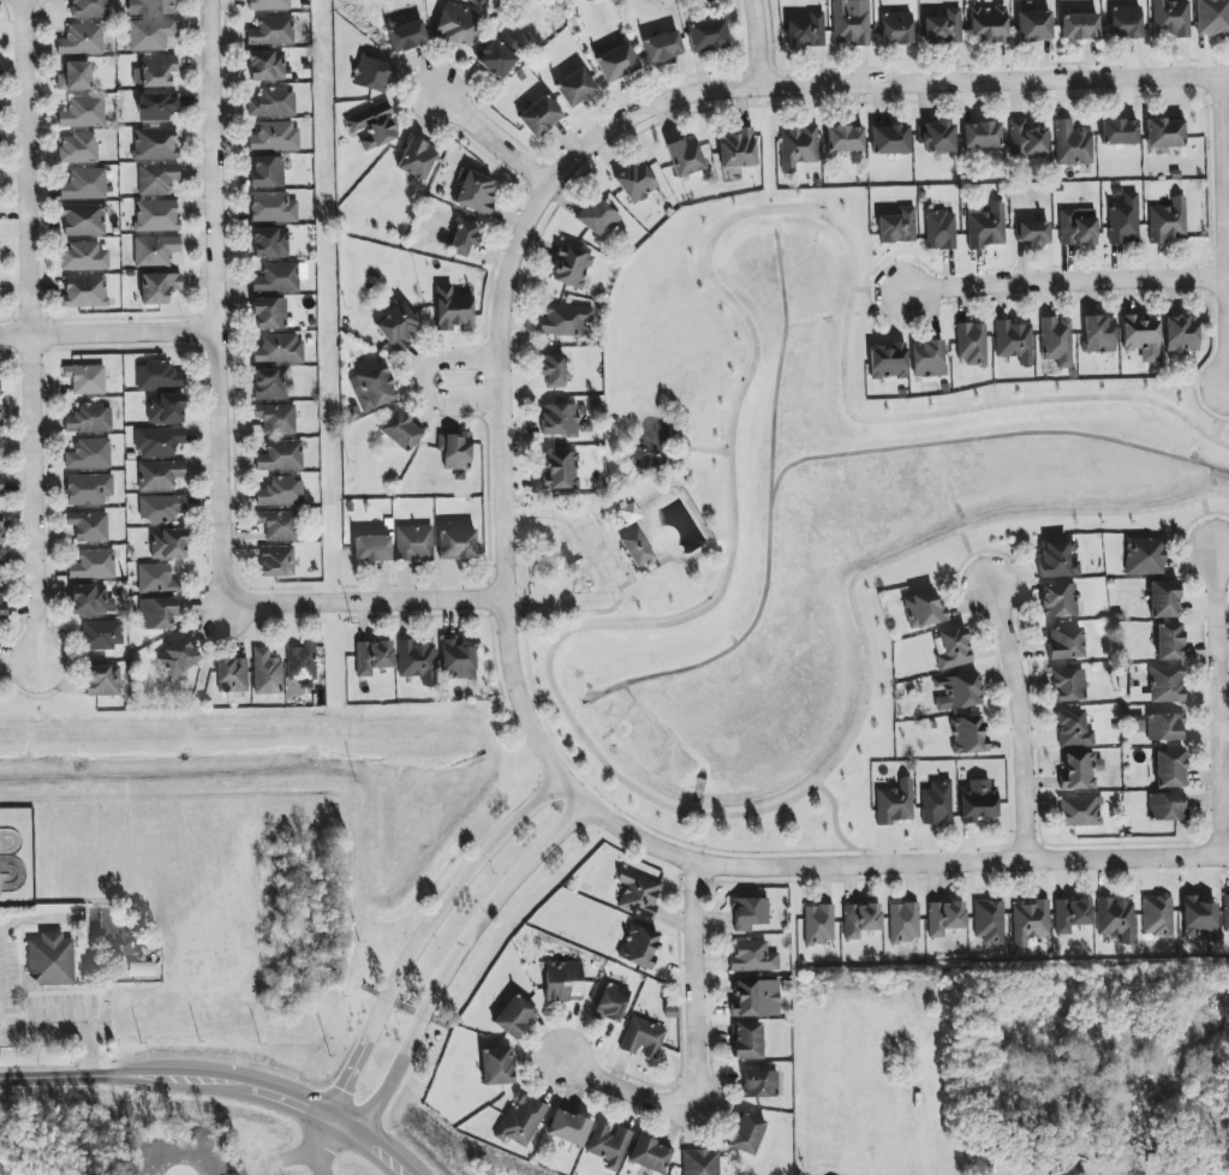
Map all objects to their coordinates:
building: (269, 5)
building: (156, 7)
building: (89, 8)
building: (1212, 17)
building: (1170, 18)
building: (851, 22)
building: (1124, 22)
building: (988, 23)
building: (457, 24)
building: (1033, 26)
building: (1079, 26)
building: (896, 28)
building: (943, 28)
building: (272, 31)
building: (806, 31)
building: (150, 34)
building: (706, 35)
building: (406, 36)
building: (82, 40)
road: (756, 42)
building: (662, 47)
building: (497, 55)
building: (616, 62)
building: (266, 66)
building: (157, 70)
building: (371, 74)
building: (74, 76)
road: (873, 83)
building: (575, 88)
building: (273, 103)
building: (156, 107)
building: (83, 112)
building: (539, 117)
building: (371, 127)
building: (1118, 132)
building: (1164, 133)
building: (982, 135)
building: (275, 137)
road: (489, 137)
building: (845, 138)
building: (938, 138)
building: (890, 139)
building: (1026, 139)
building: (155, 144)
building: (1072, 144)
building: (798, 147)
building: (78, 148)
building: (738, 149)
building: (685, 156)
building: (416, 159)
building: (267, 172)
building: (156, 179)
building: (636, 181)
building: (84, 184)
building: (475, 192)
building: (273, 208)
building: (156, 215)
building: (597, 219)
building: (83, 220)
building: (1123, 220)
building: (1168, 221)
road: (1223, 222)
building: (897, 226)
building: (985, 226)
building: (1076, 227)
building: (939, 229)
building: (1033, 233)
building: (464, 238)
building: (270, 243)
building: (155, 250)
building: (83, 257)
building: (572, 268)
building: (279, 278)
road: (1062, 284)
building: (159, 287)
road: (877, 290)
building: (84, 291)
road: (219, 299)
building: (452, 308)
building: (268, 314)
building: (565, 320)
building: (398, 327)
road: (109, 330)
road: (37, 333)
building: (1099, 334)
building: (1181, 334)
building: (1141, 338)
building: (1013, 341)
building: (1056, 341)
building: (971, 344)
building: (279, 348)
building: (927, 358)
building: (888, 360)
building: (553, 369)
building: (157, 376)
building: (85, 378)
road: (423, 380)
building: (270, 383)
building: (372, 388)
building: (0, 394)
building: (166, 408)
building: (89, 418)
building: (276, 418)
road: (1223, 418)
building: (559, 419)
building: (0, 421)
building: (400, 430)
road: (674, 439)
building: (159, 441)
road: (632, 443)
building: (1, 448)
building: (454, 451)
road: (706, 451)
building: (89, 454)
building: (280, 457)
park: (648, 464)
building: (561, 470)
building: (160, 476)
building: (0, 485)
building: (88, 489)
building: (281, 493)
road: (609, 503)
building: (161, 507)
building: (630, 513)
building: (279, 525)
road: (1209, 525)
building: (89, 526)
building: (1, 527)
building: (413, 543)
building: (168, 544)
building: (457, 544)
building: (371, 548)
building: (637, 548)
building: (1144, 556)
road: (972, 559)
building: (1, 560)
building: (1058, 560)
building: (276, 561)
building: (93, 565)
road: (601, 577)
building: (155, 578)
building: (90, 600)
building: (1164, 600)
building: (1058, 601)
building: (1, 603)
road: (365, 603)
building: (923, 609)
building: (157, 614)
road: (698, 614)
road: (548, 622)
building: (102, 634)
building: (1169, 642)
building: (1064, 643)
building: (951, 649)
building: (178, 657)
building: (372, 657)
building: (417, 661)
building: (457, 661)
building: (302, 662)
building: (266, 673)
building: (232, 675)
building: (102, 680)
building: (1167, 684)
building: (1068, 685)
building: (959, 692)
road: (1219, 704)
road: (1019, 721)
building: (1164, 727)
building: (1073, 729)
building: (968, 734)
building: (1170, 769)
building: (1078, 771)
building: (978, 801)
building: (894, 803)
building: (937, 803)
road: (589, 805)
building: (1167, 806)
building: (1080, 811)
road: (836, 823)
building: (638, 894)
building: (750, 913)
building: (1225, 913)
building: (1072, 914)
building: (1157, 917)
road: (26, 918)
building: (944, 918)
building: (1199, 918)
building: (860, 919)
building: (1116, 919)
building: (903, 921)
building: (989, 921)
building: (1030, 921)
building: (818, 924)
building: (638, 946)
building: (753, 956)
building: (50, 960)
building: (141, 968)
building: (563, 982)
building: (756, 998)
building: (611, 1002)
building: (514, 1016)
road: (67, 1024)
building: (643, 1038)
building: (746, 1040)
road: (699, 1058)
building: (496, 1066)
road: (178, 1075)
building: (759, 1084)
road: (348, 1113)
road: (346, 1121)
building: (520, 1121)
building: (568, 1127)
building: (746, 1134)
building: (609, 1145)
road: (324, 1147)
road: (377, 1147)
building: (650, 1155)
road: (292, 1156)
building: (700, 1162)

